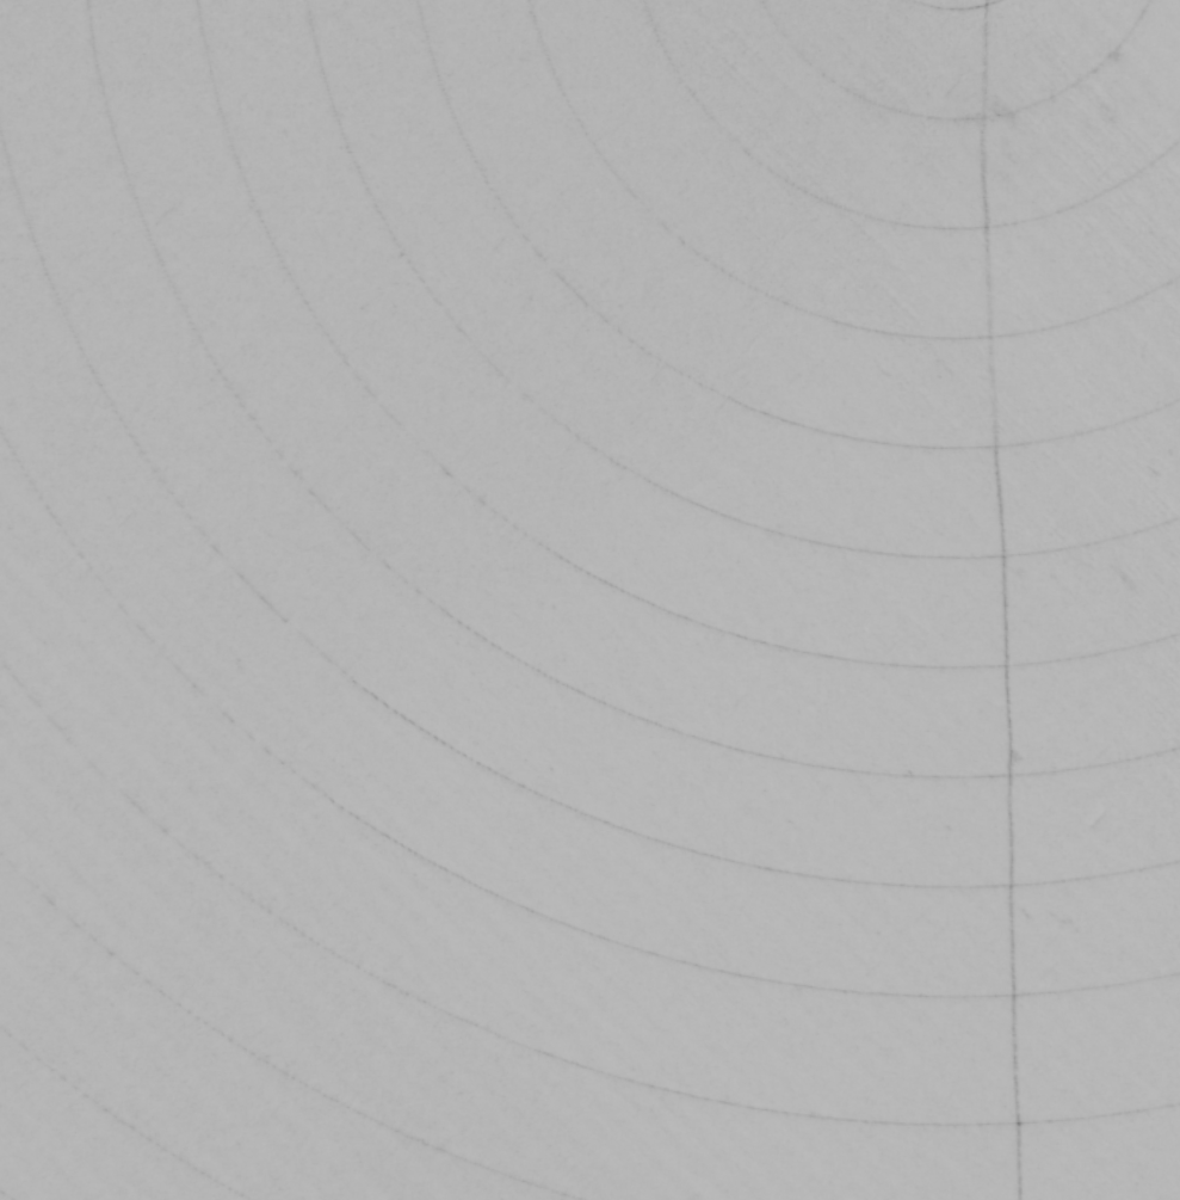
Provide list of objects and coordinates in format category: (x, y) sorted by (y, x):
building: (229, 556)

